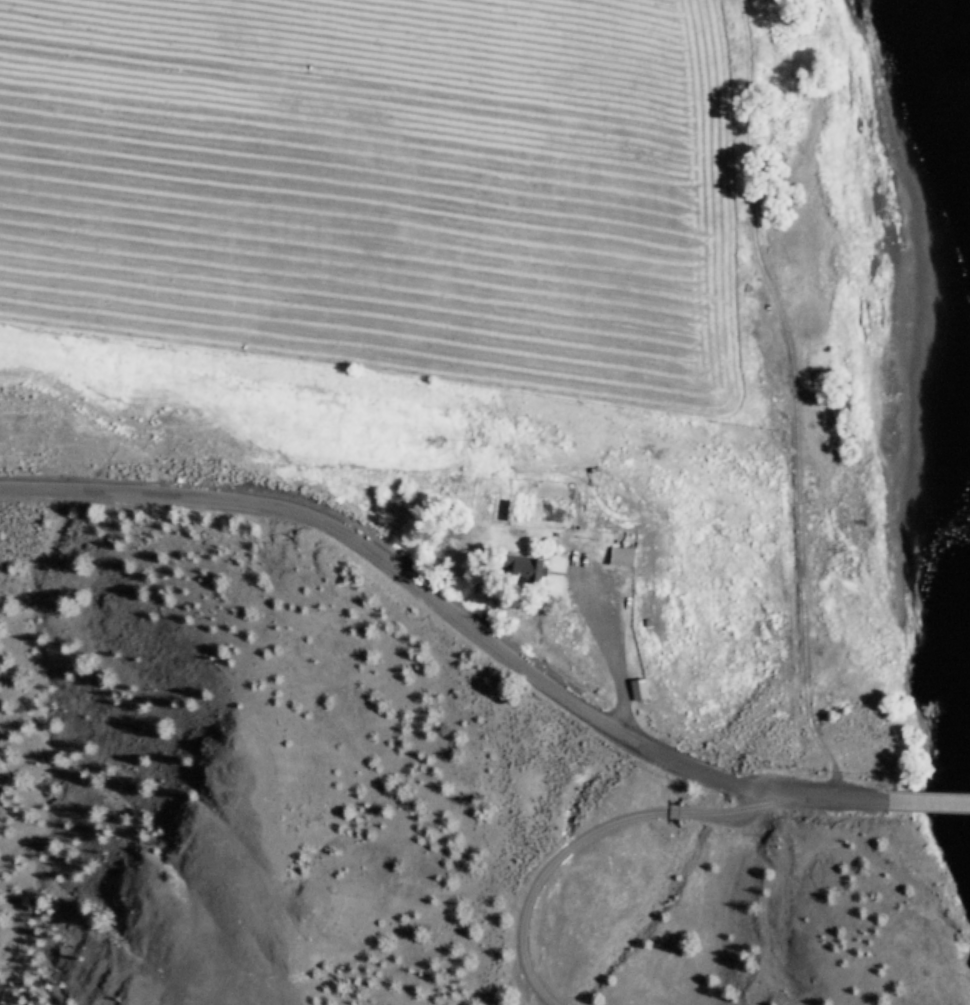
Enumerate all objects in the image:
river: (934, 116)
building: (623, 553)
building: (526, 566)
road: (392, 579)
building: (639, 687)
road: (819, 798)
road: (929, 803)
road: (694, 897)

